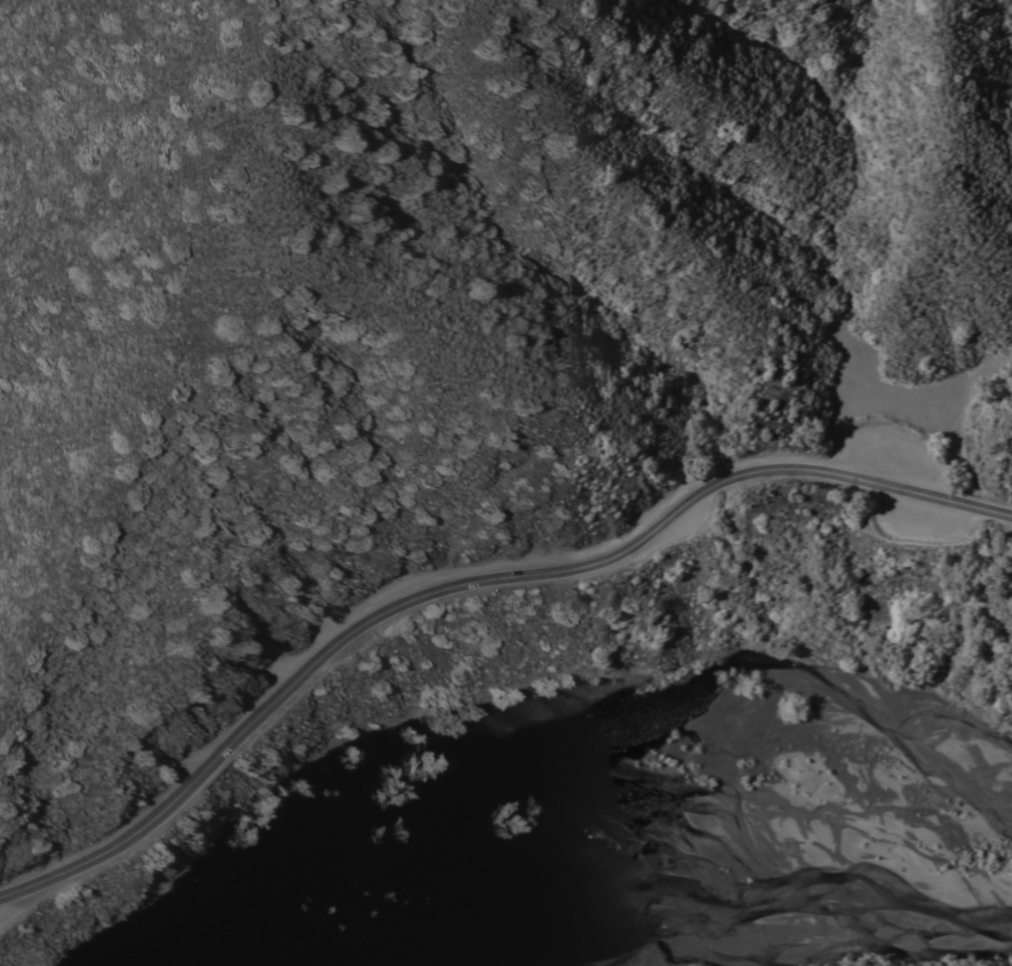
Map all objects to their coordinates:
parking lot: (887, 454)
parking lot: (918, 515)
road: (470, 581)
river: (455, 837)
river: (565, 862)
river: (577, 863)
river: (587, 879)
river: (881, 890)
river: (149, 961)

